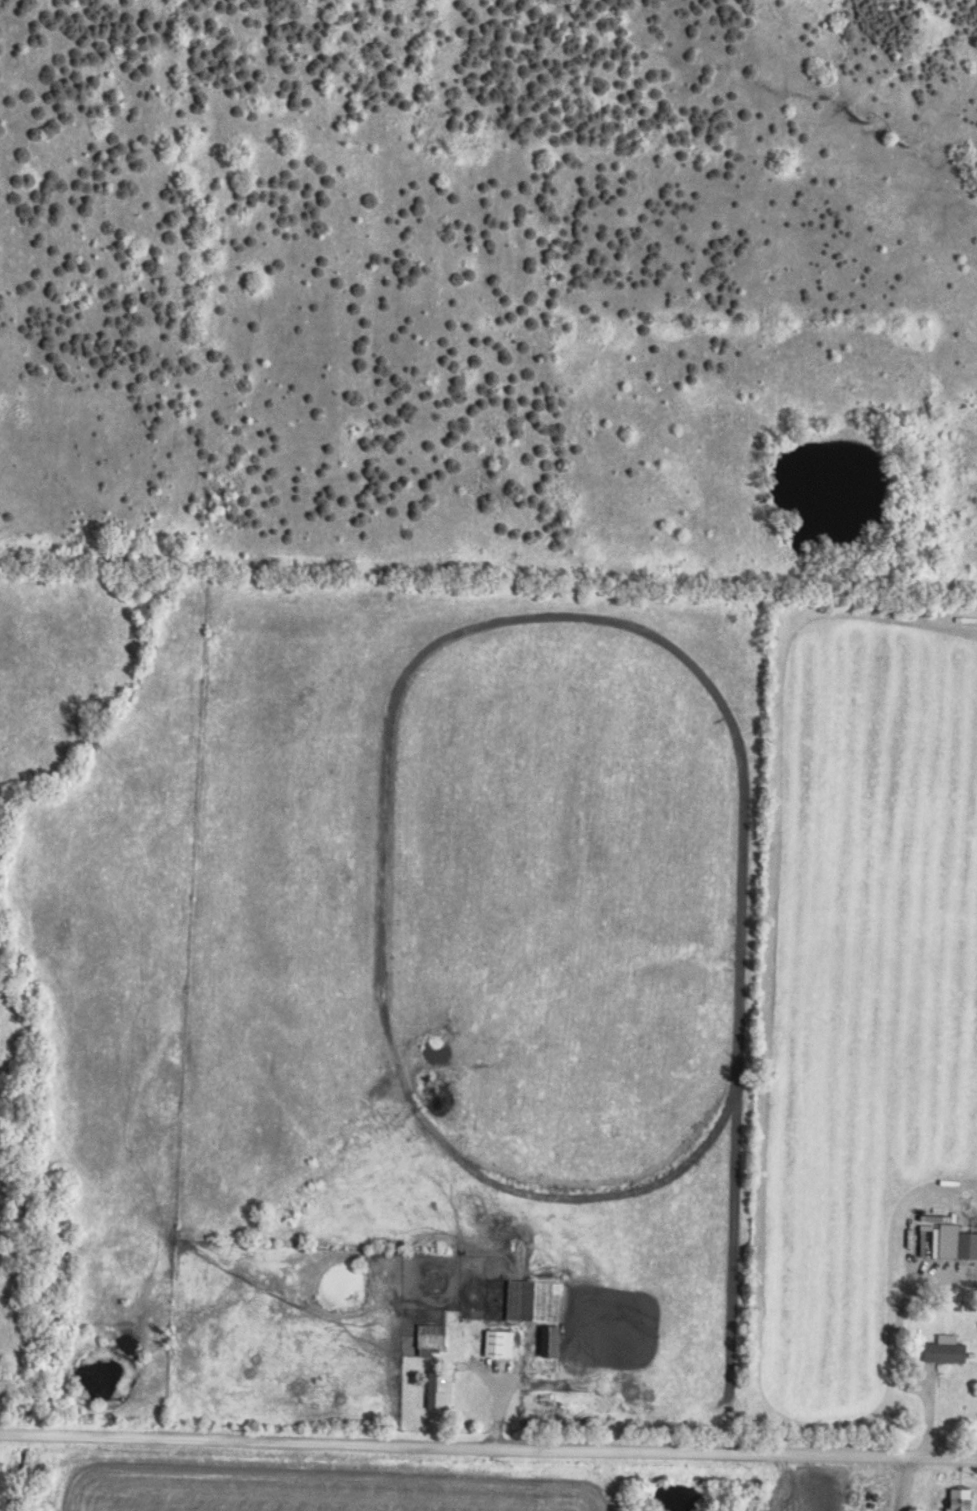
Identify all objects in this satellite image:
building: (954, 1244)
building: (531, 1302)
building: (428, 1340)
building: (495, 1344)
building: (941, 1353)
building: (436, 1389)
road: (488, 1448)
road: (903, 1484)
building: (954, 1500)

